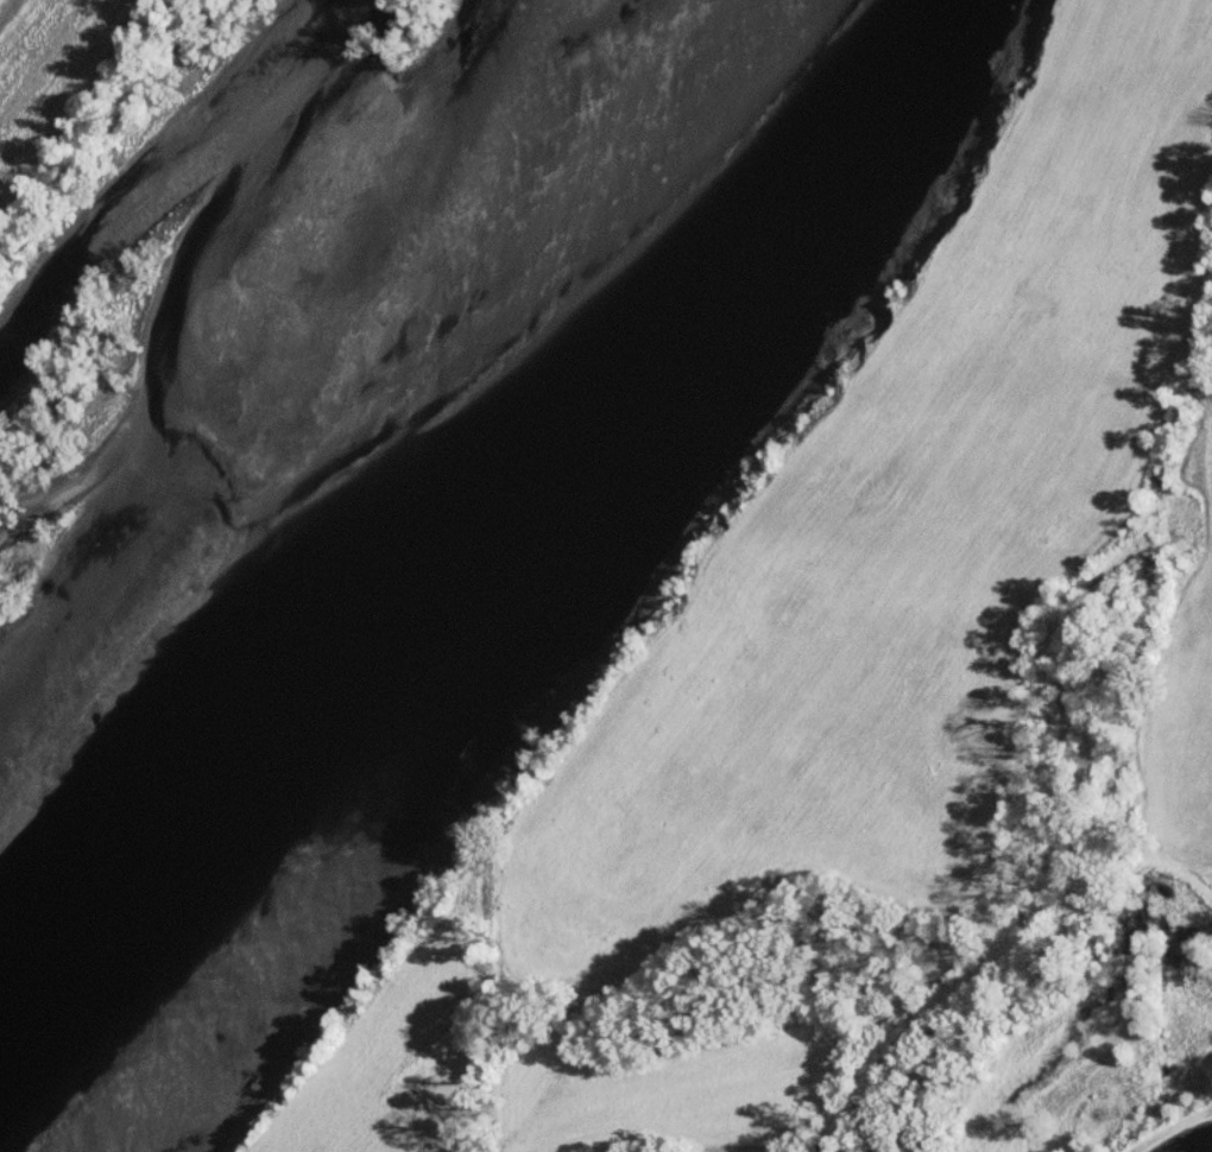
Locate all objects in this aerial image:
river: (475, 565)

